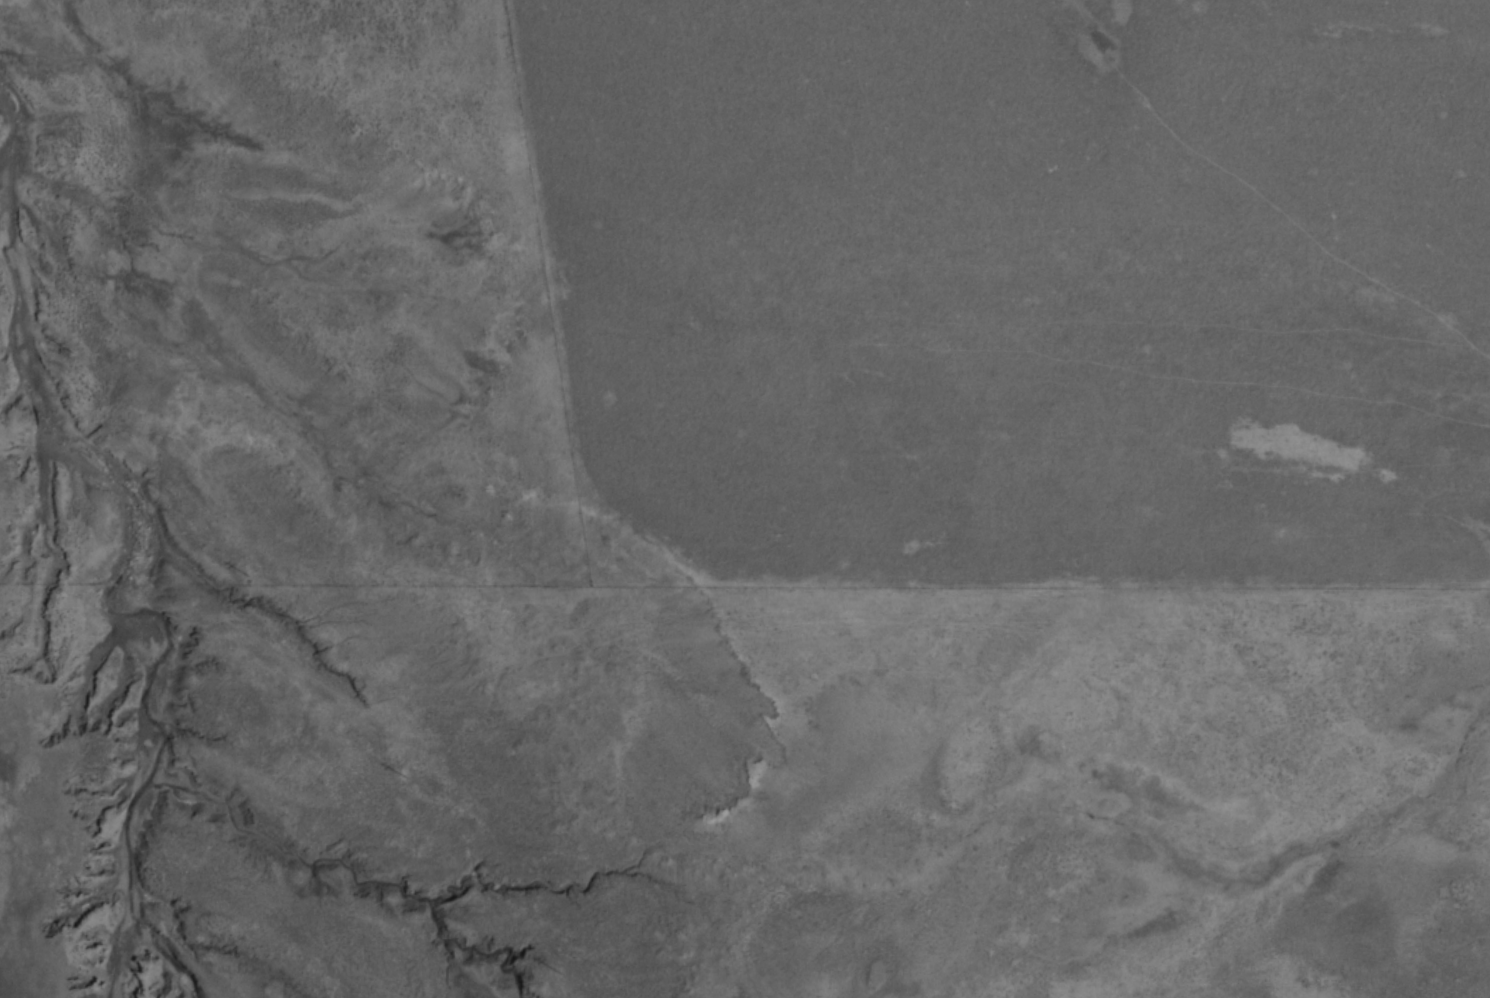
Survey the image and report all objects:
power tower: (80, 352)
power tower: (255, 576)
power tower: (412, 776)
power tower: (567, 972)

